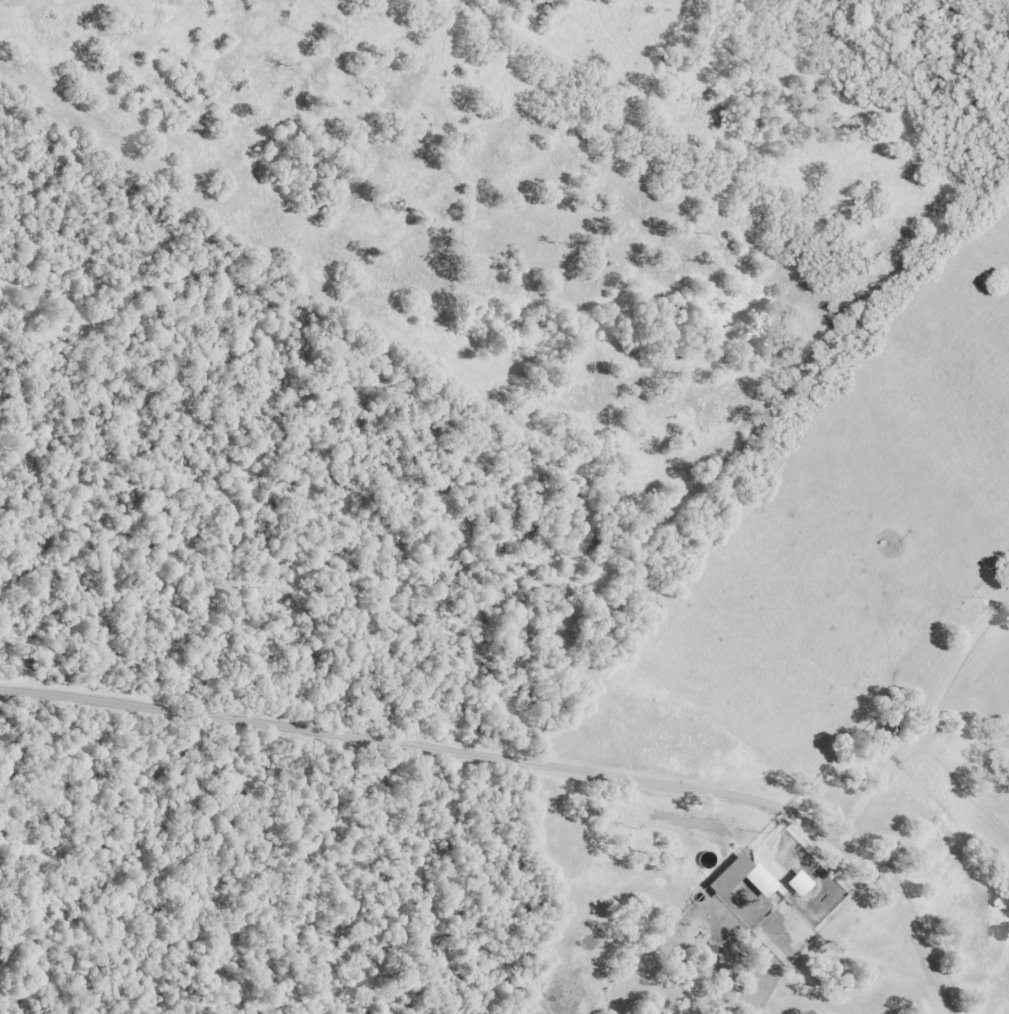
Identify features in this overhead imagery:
road: (906, 712)
road: (528, 797)
building: (722, 875)

